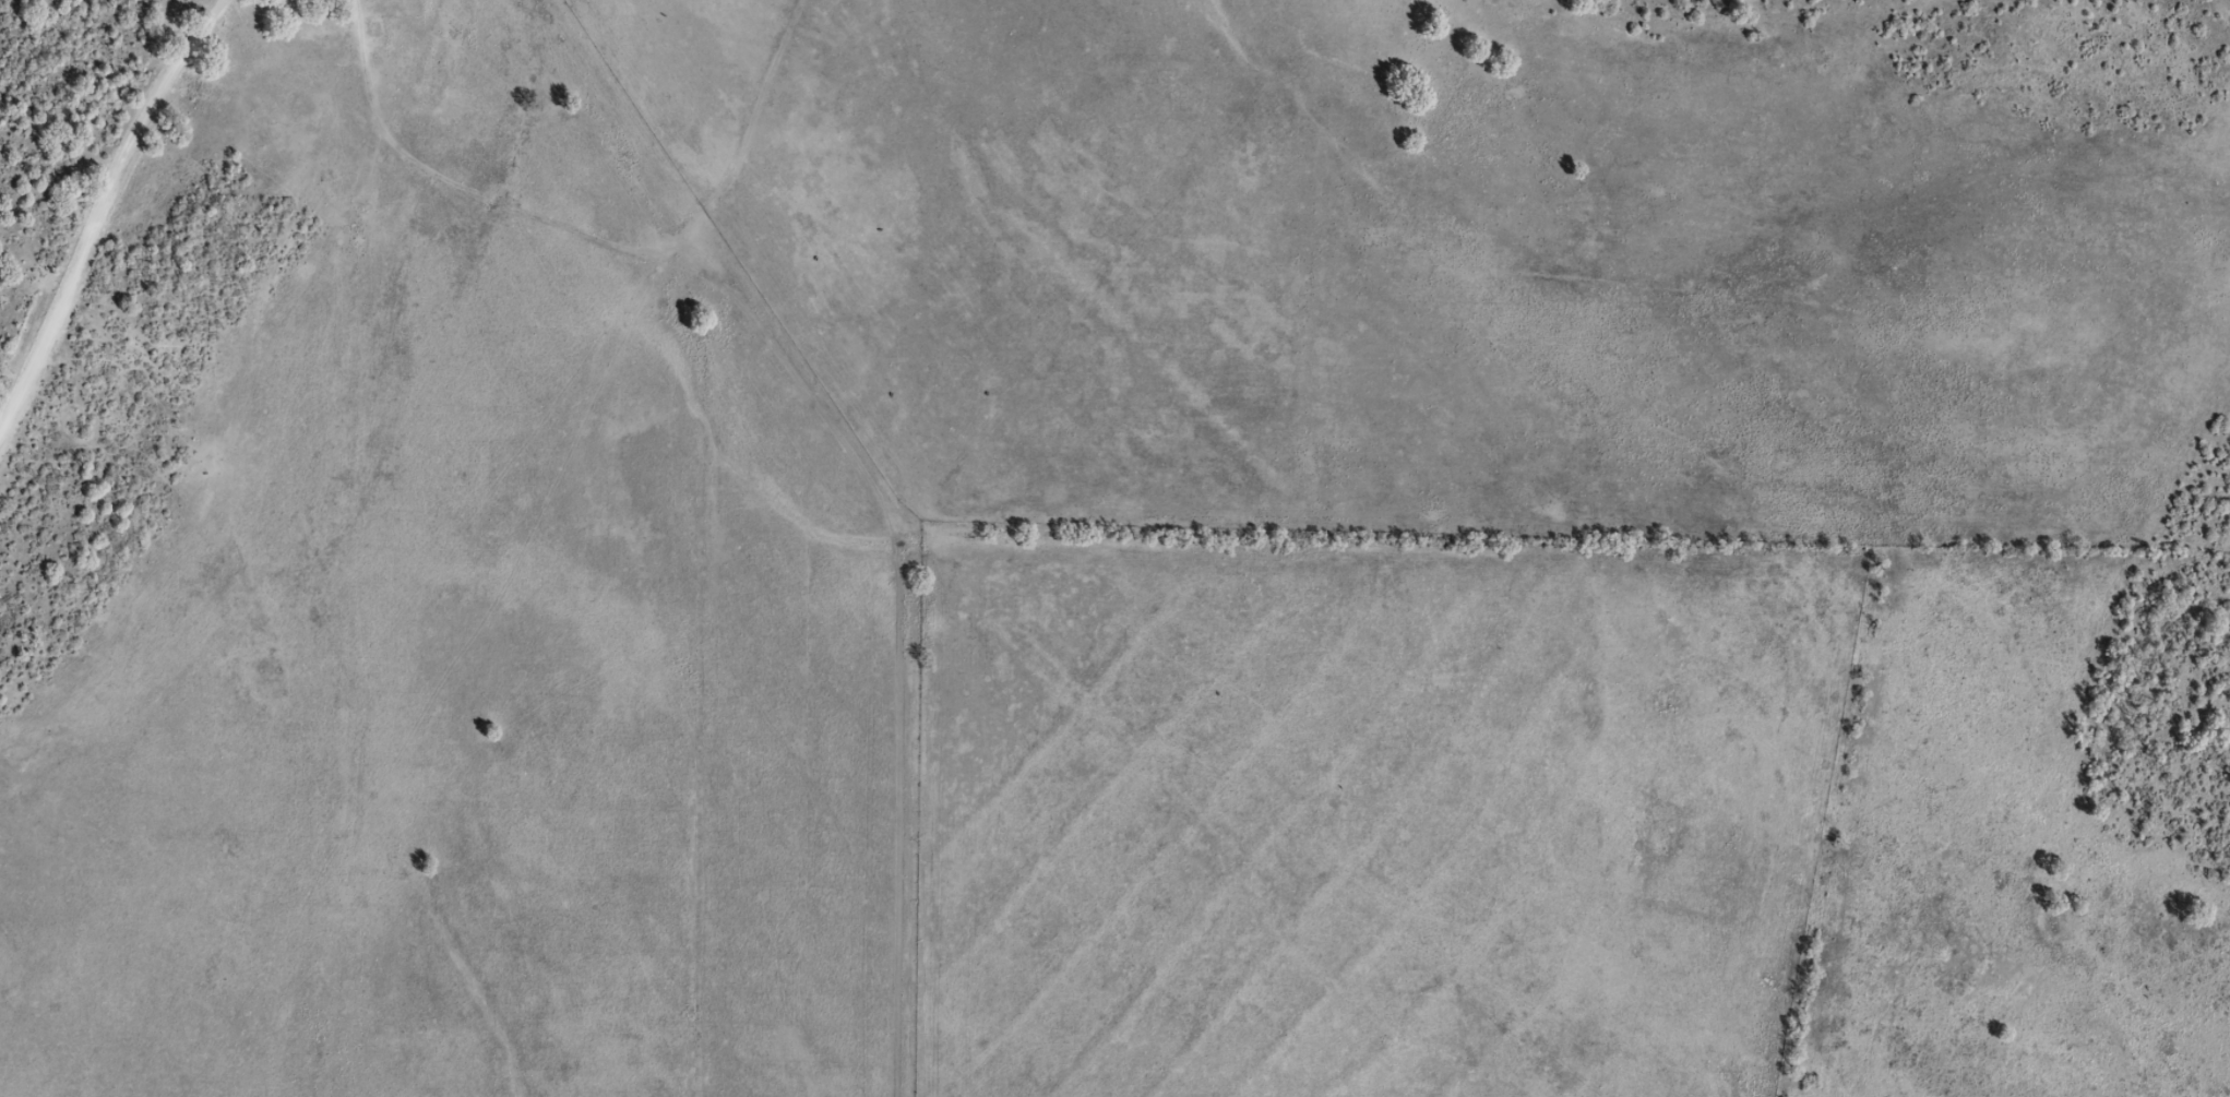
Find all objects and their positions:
road: (134, 258)
road: (288, 545)

